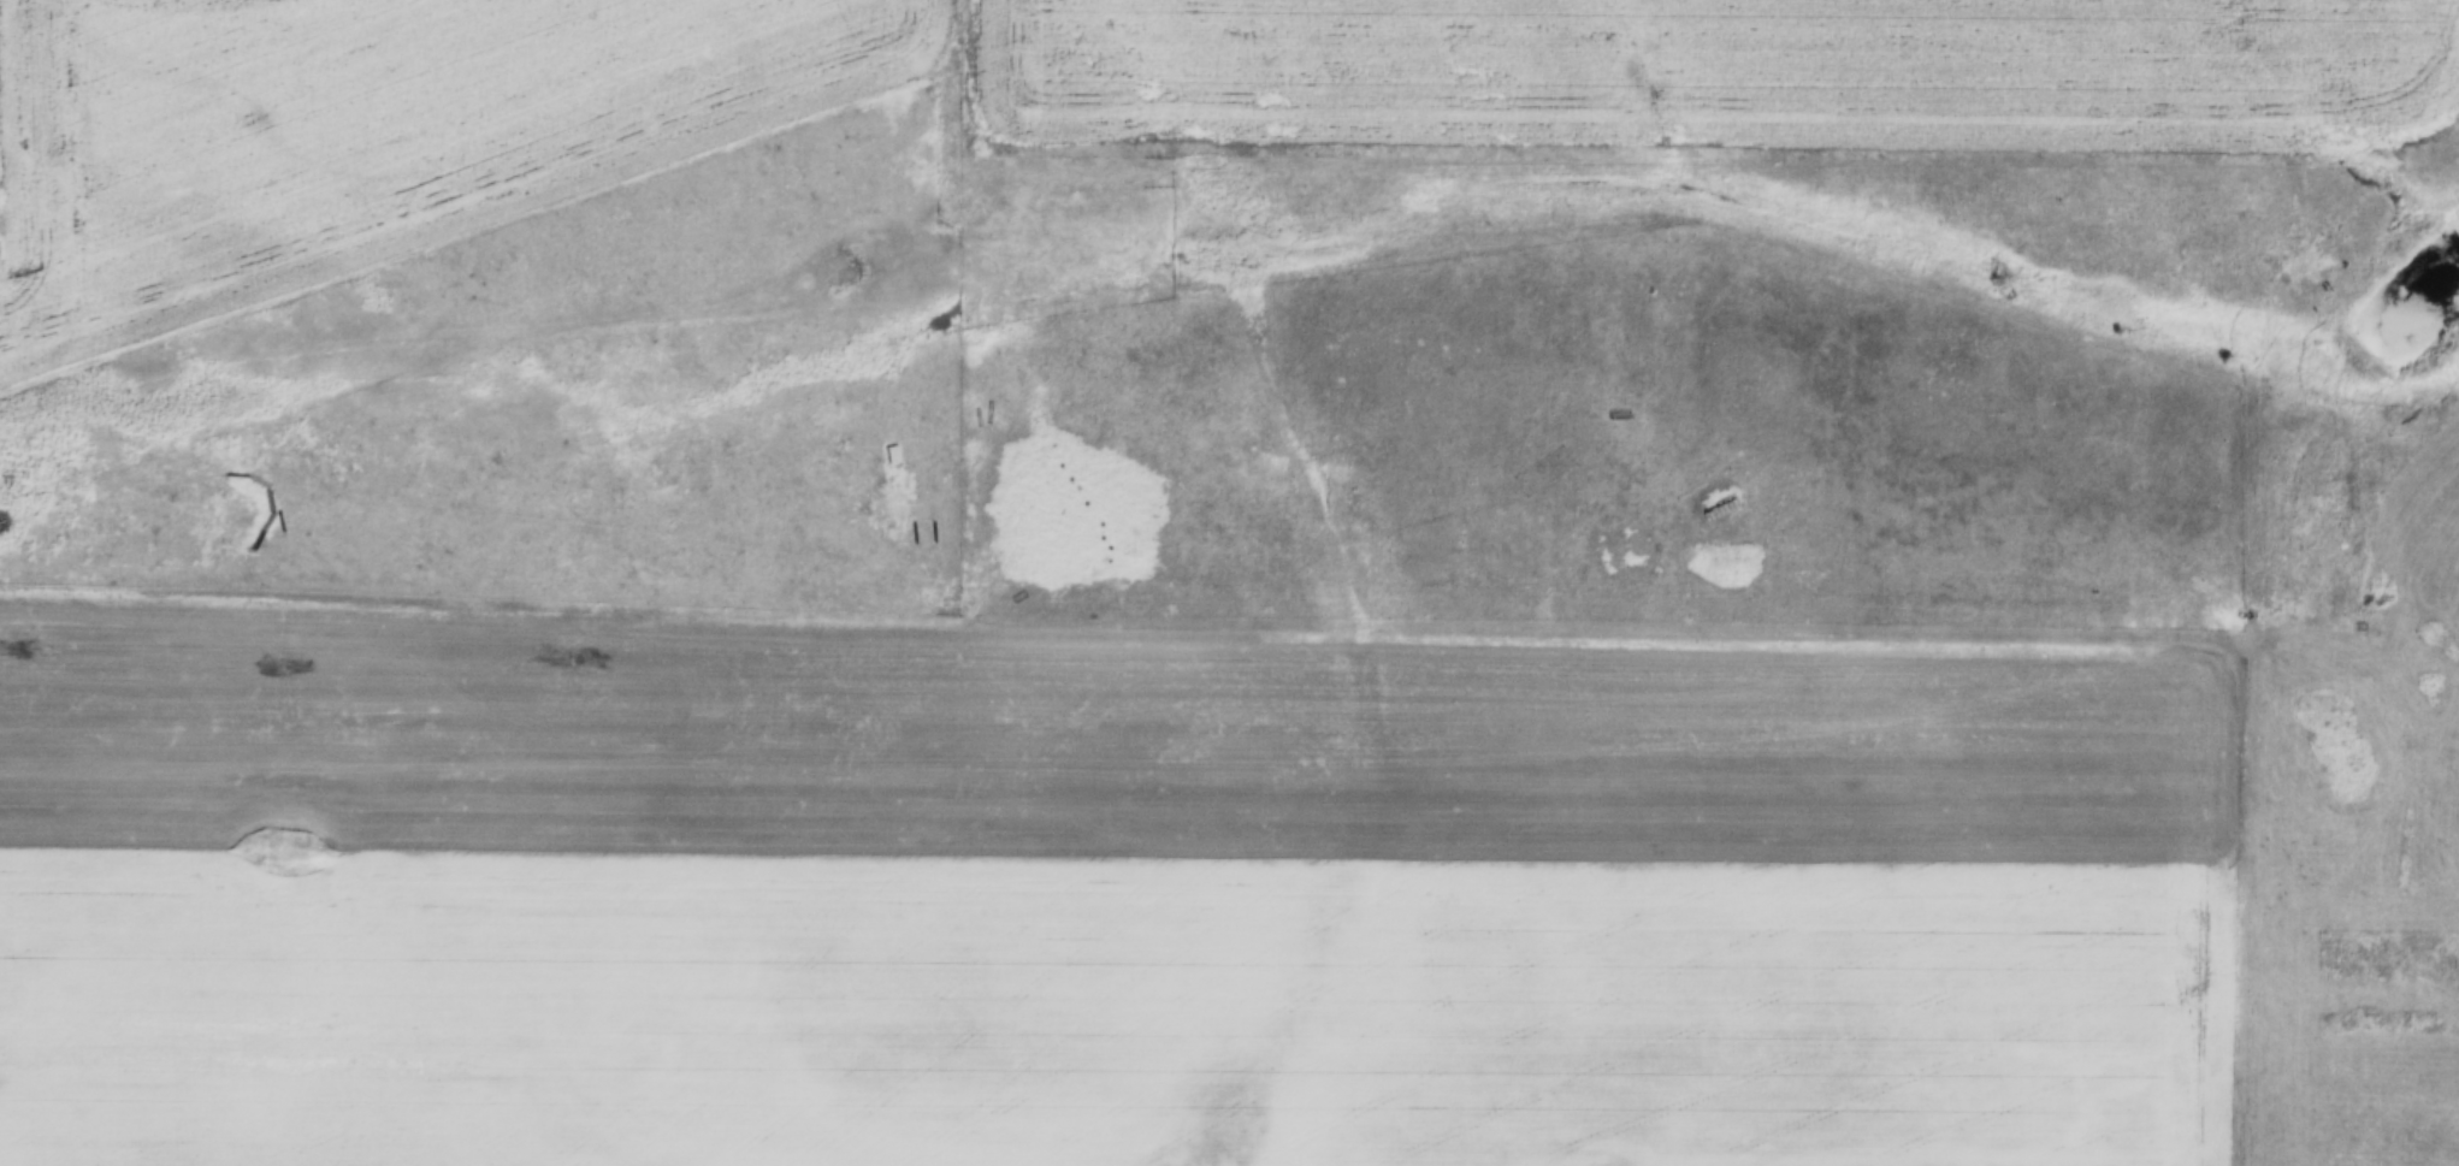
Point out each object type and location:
building: (780, 433)
building: (223, 442)

